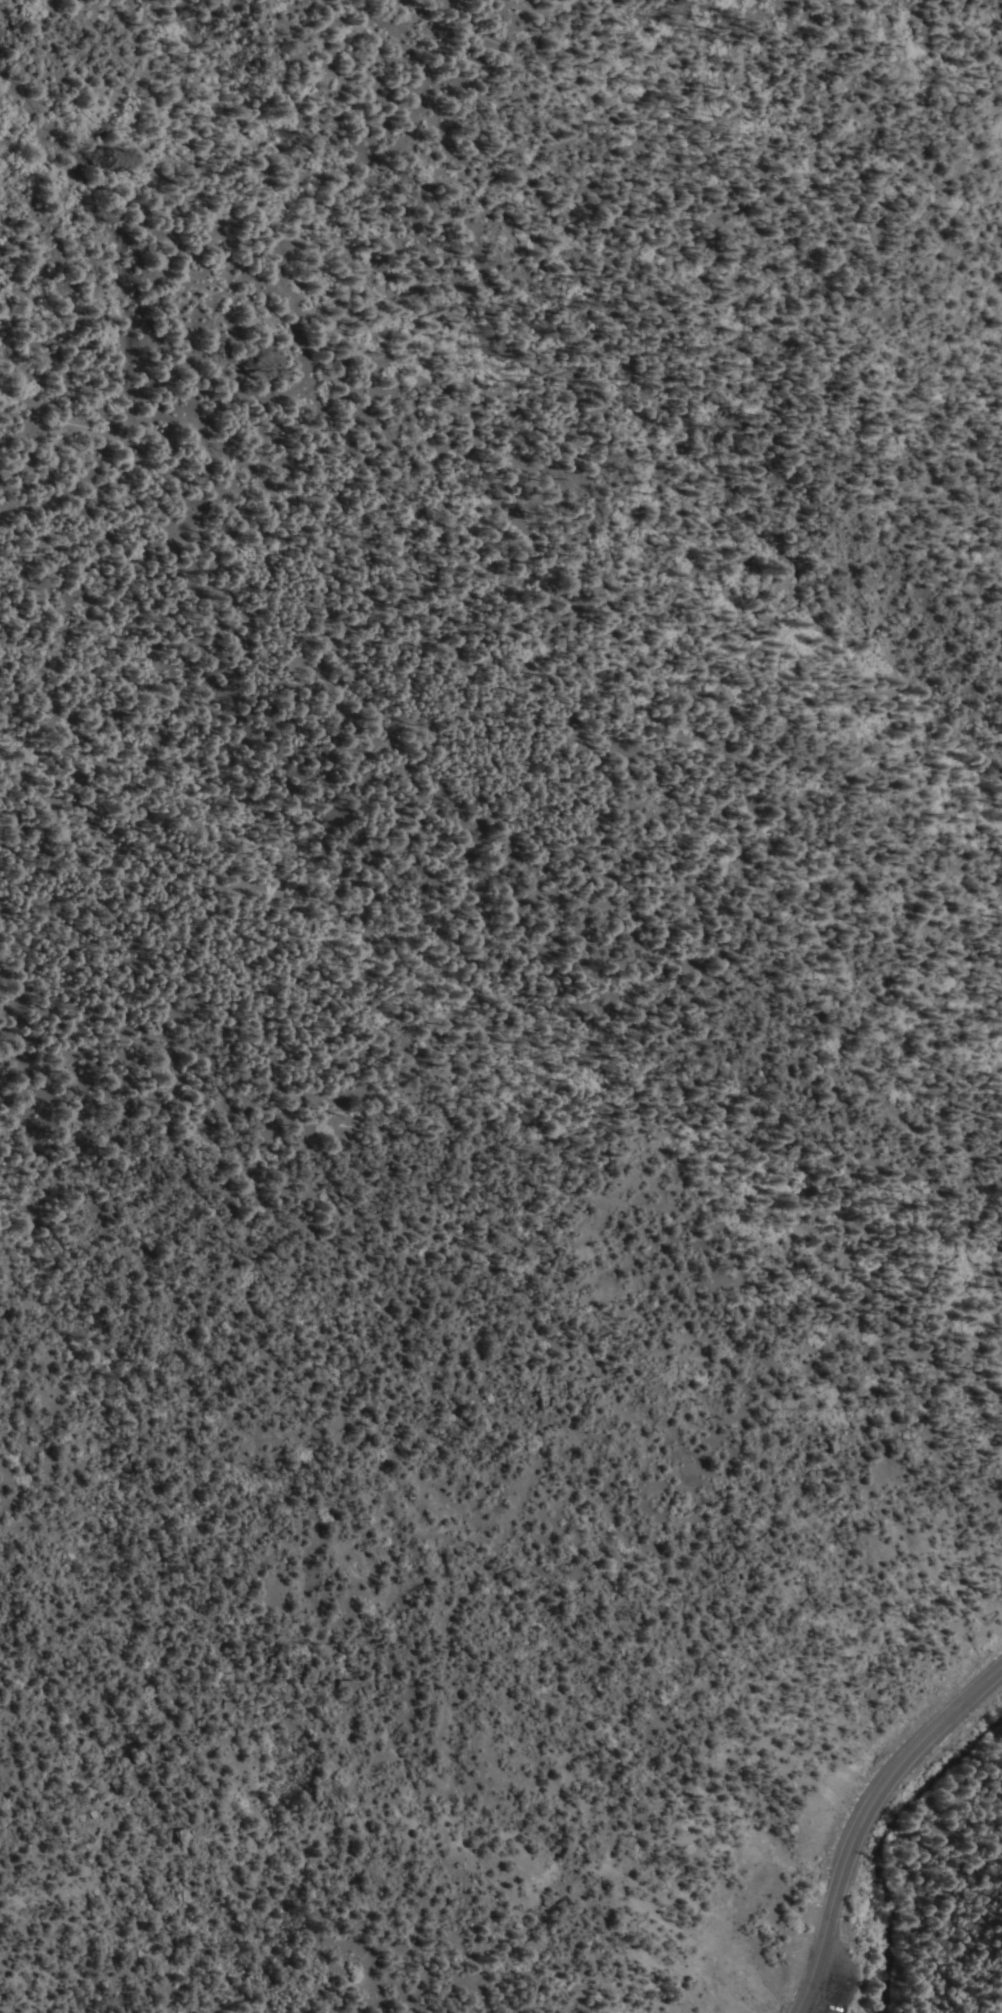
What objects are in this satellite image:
road: (864, 1818)

